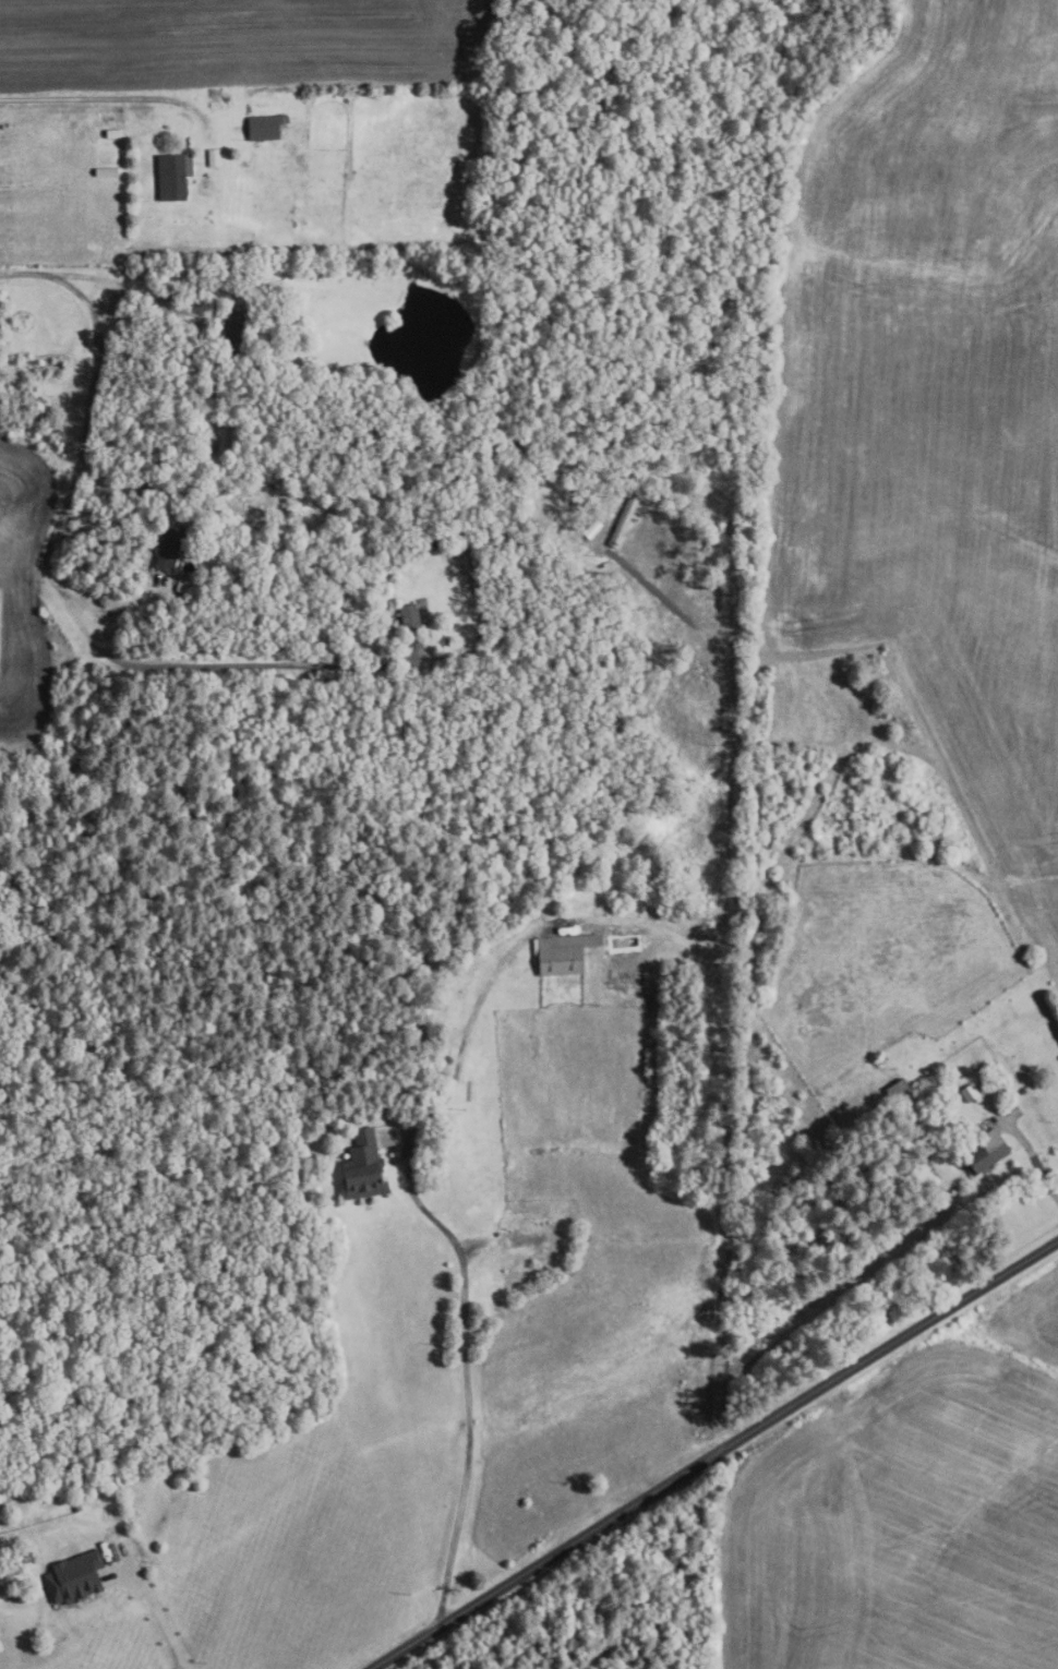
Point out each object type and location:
road: (113, 93)
building: (264, 128)
building: (113, 132)
building: (149, 139)
building: (160, 140)
building: (215, 157)
building: (173, 175)
road: (117, 280)
building: (212, 295)
building: (168, 296)
building: (235, 336)
building: (53, 368)
road: (88, 395)
building: (263, 481)
building: (624, 523)
building: (593, 529)
building: (434, 541)
building: (414, 547)
building: (465, 548)
building: (169, 549)
building: (184, 586)
road: (107, 602)
building: (410, 617)
road: (216, 663)
building: (565, 953)
building: (898, 1089)
building: (1022, 1089)
building: (970, 1094)
building: (987, 1152)
road: (1034, 1161)
building: (364, 1166)
road: (468, 1257)
road: (711, 1453)
crop: (906, 1511)
building: (75, 1577)
road: (159, 1610)

